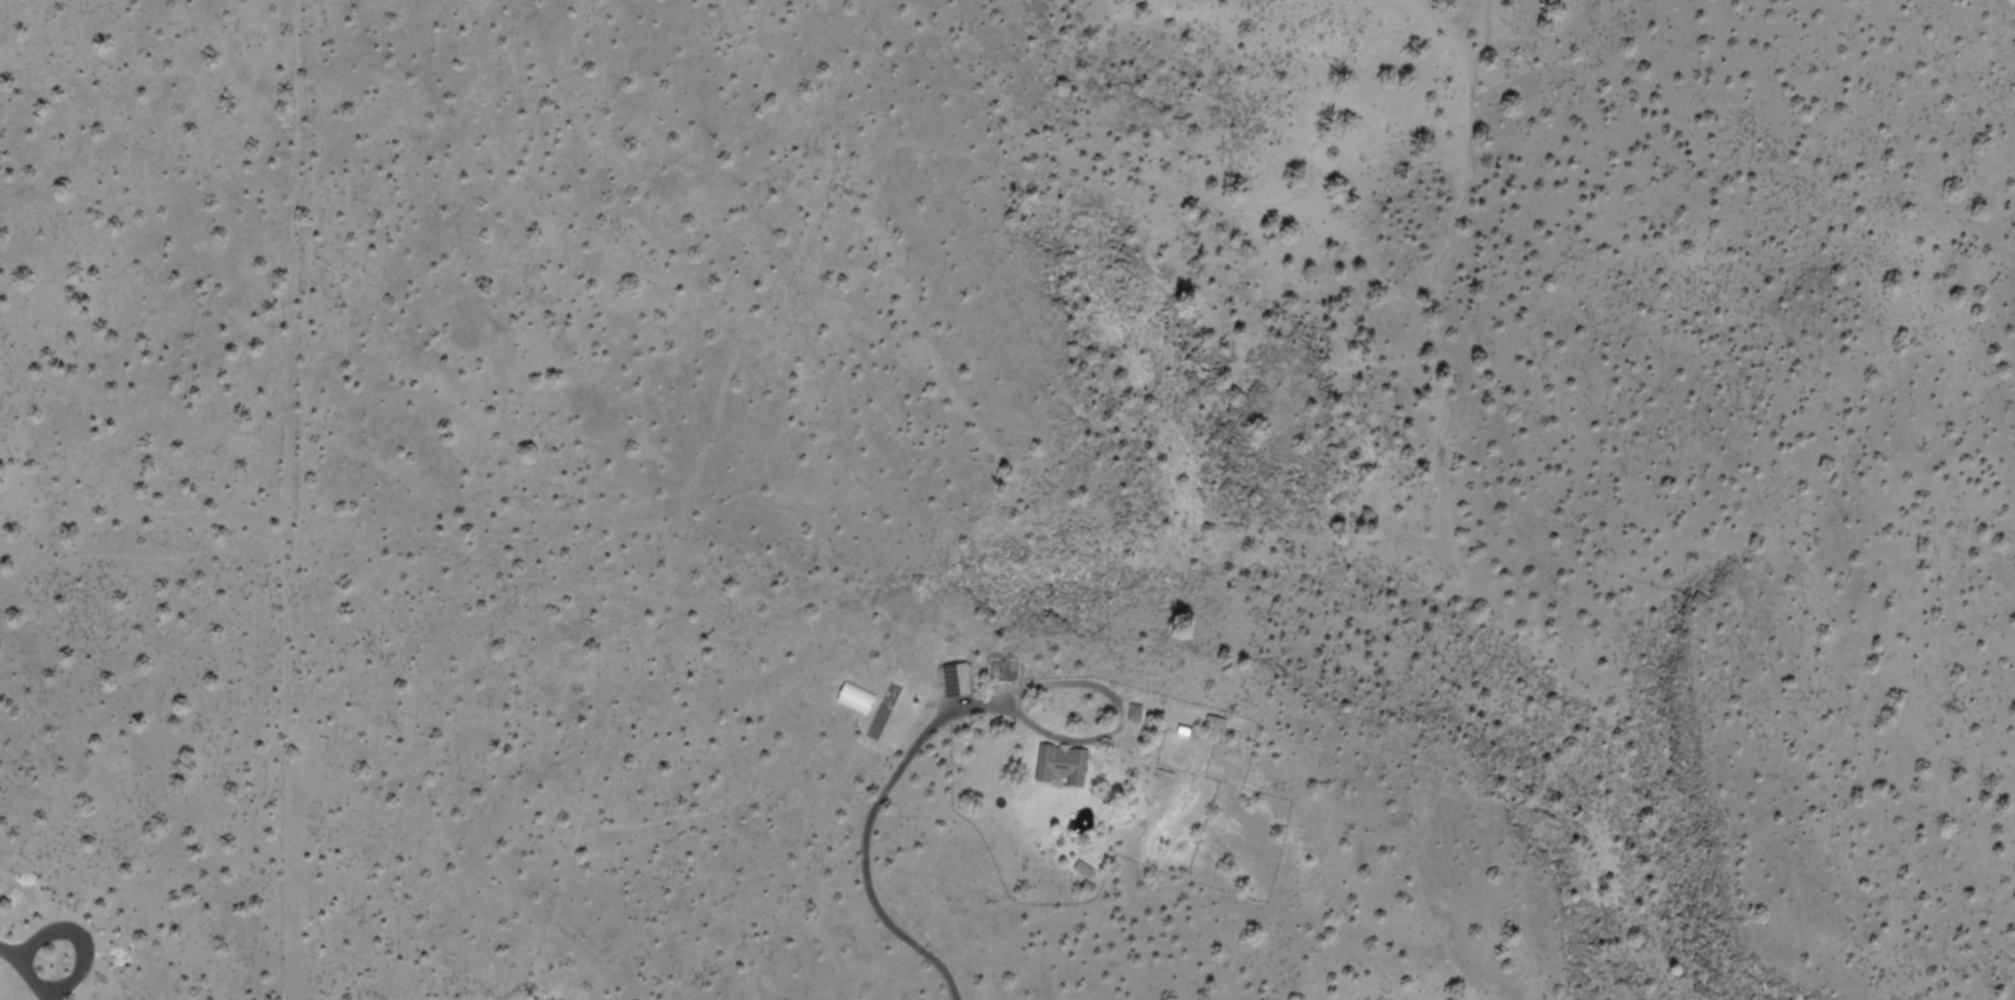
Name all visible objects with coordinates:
building: (1133, 711)
building: (1061, 762)
road: (864, 865)

